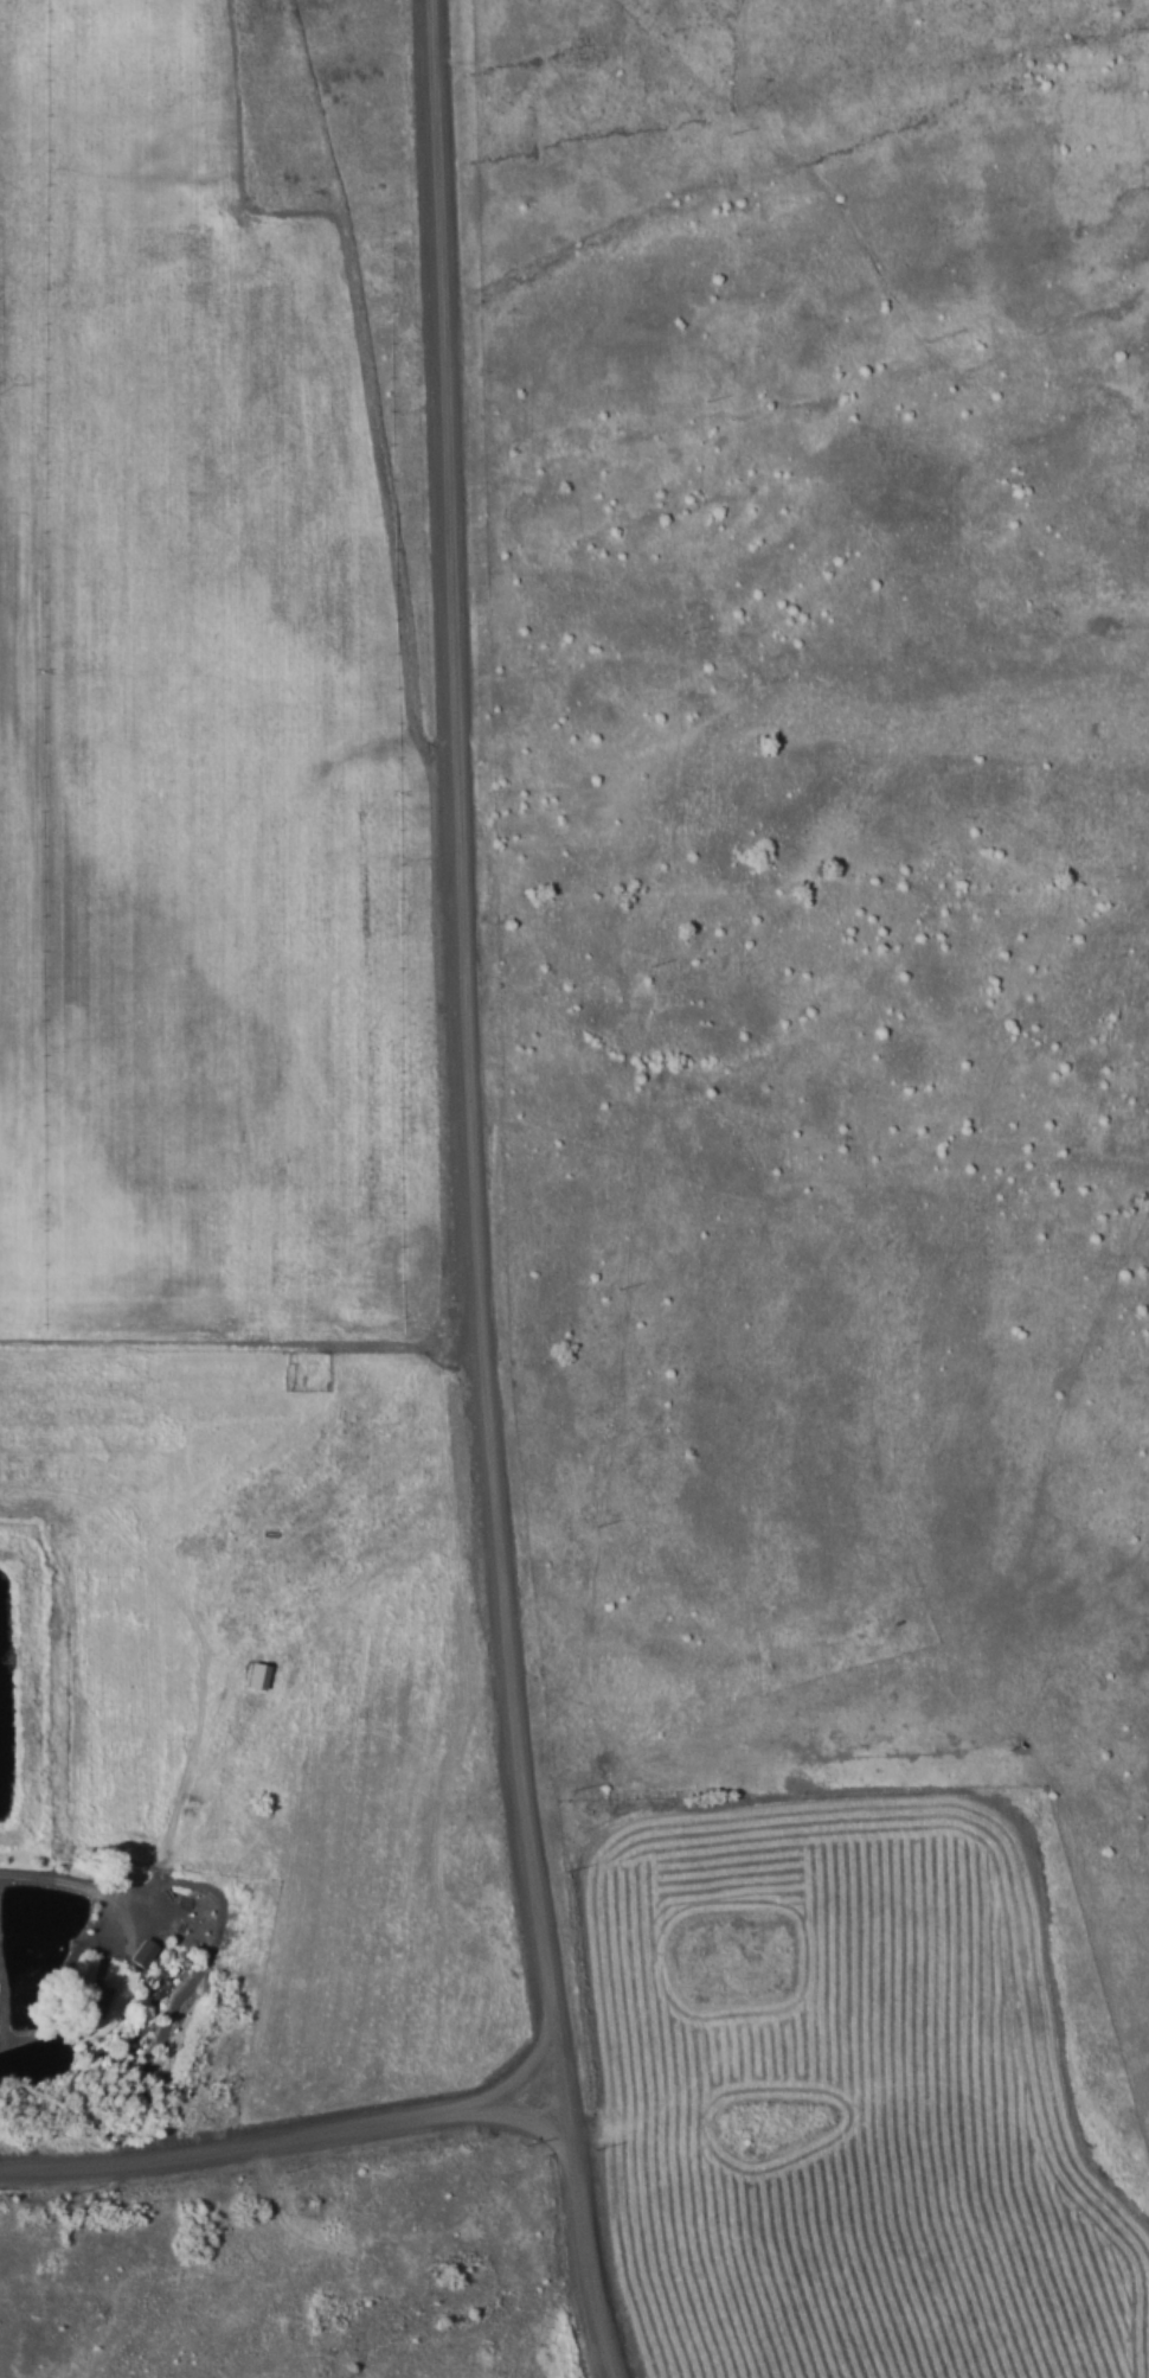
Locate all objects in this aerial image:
road: (471, 1193)
building: (257, 1674)
road: (46, 1888)
building: (96, 1997)
road: (290, 2148)

